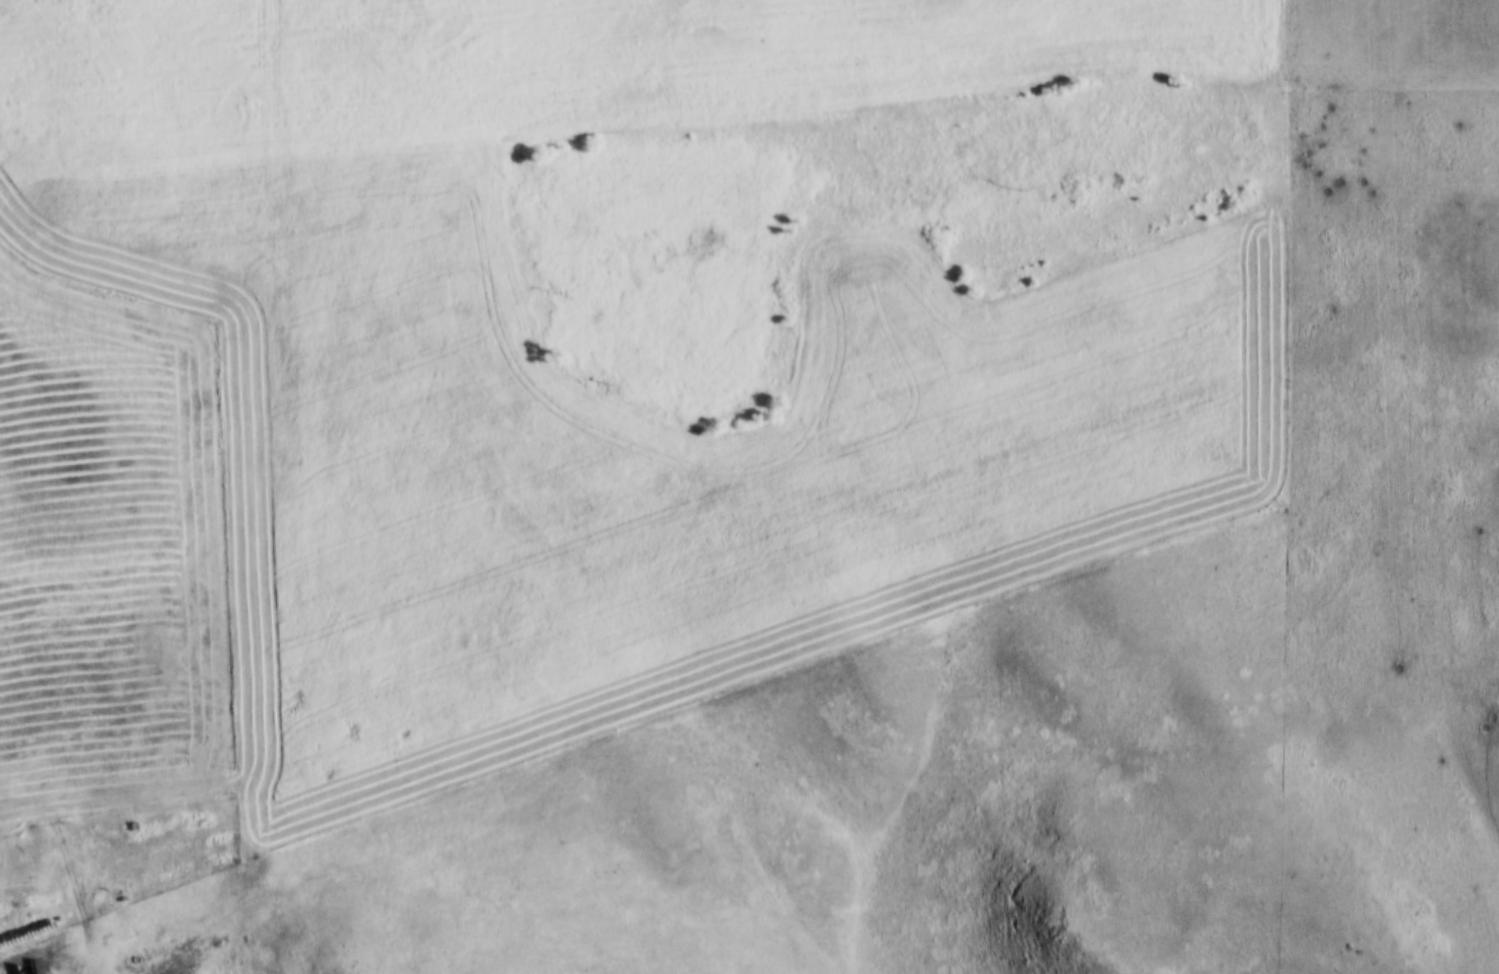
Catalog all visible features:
road: (6, 803)

